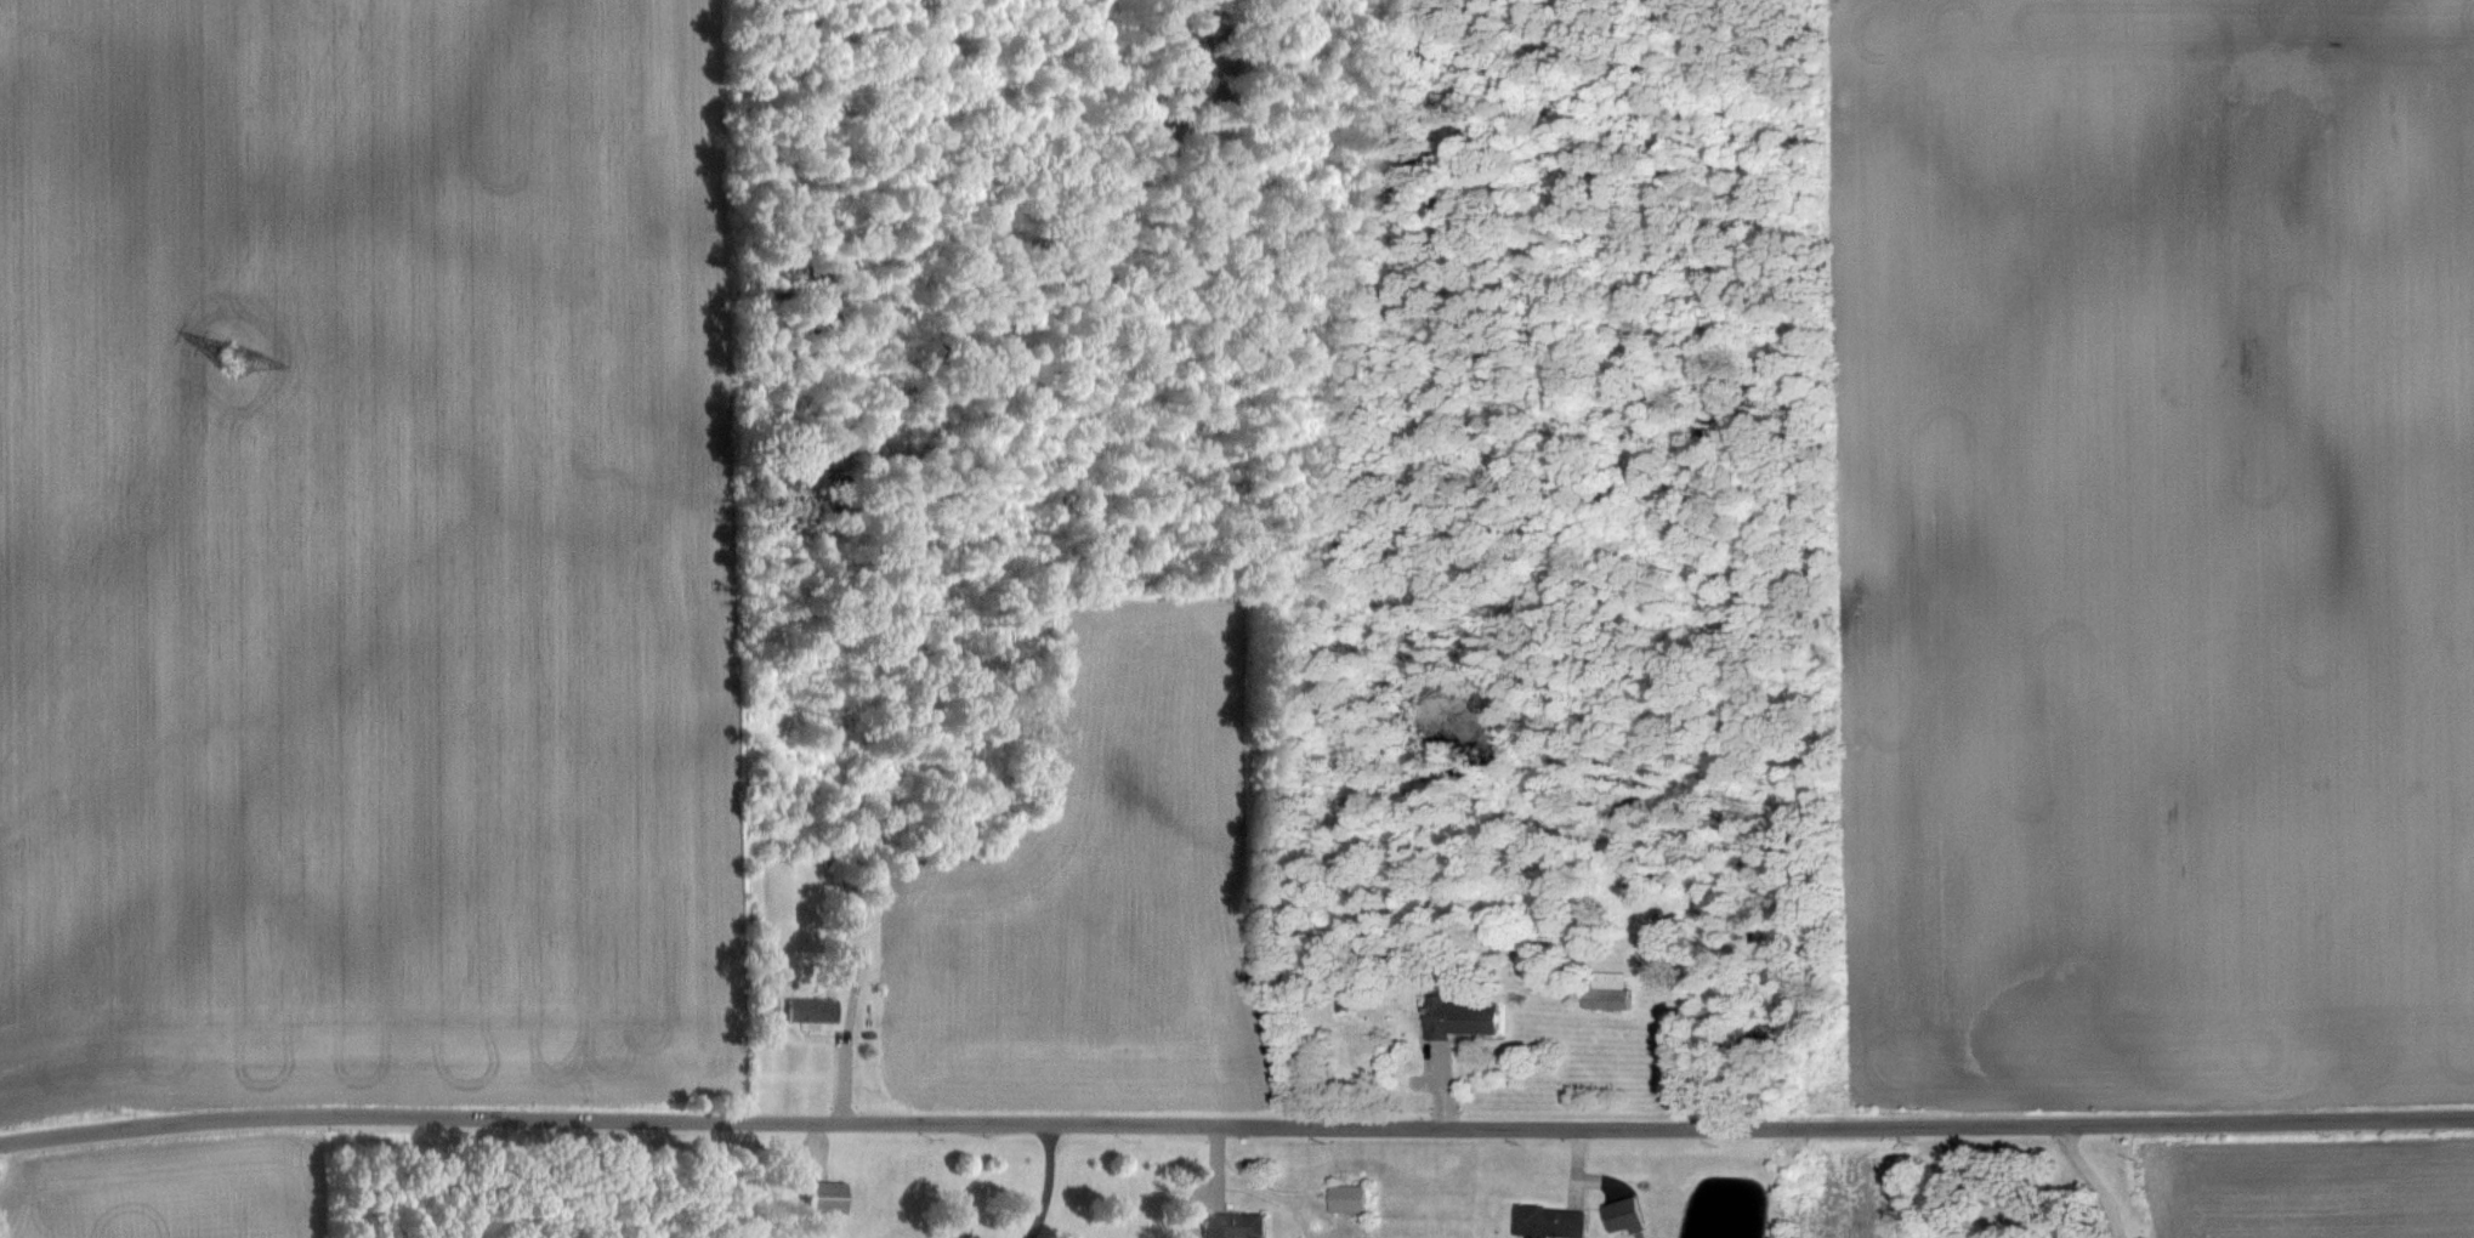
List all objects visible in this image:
power tower: (233, 360)
building: (1607, 989)
building: (811, 1009)
building: (1462, 1016)
road: (1236, 1125)
building: (827, 1196)
building: (1349, 1197)
building: (1548, 1221)
building: (1235, 1225)
building: (966, 1236)

